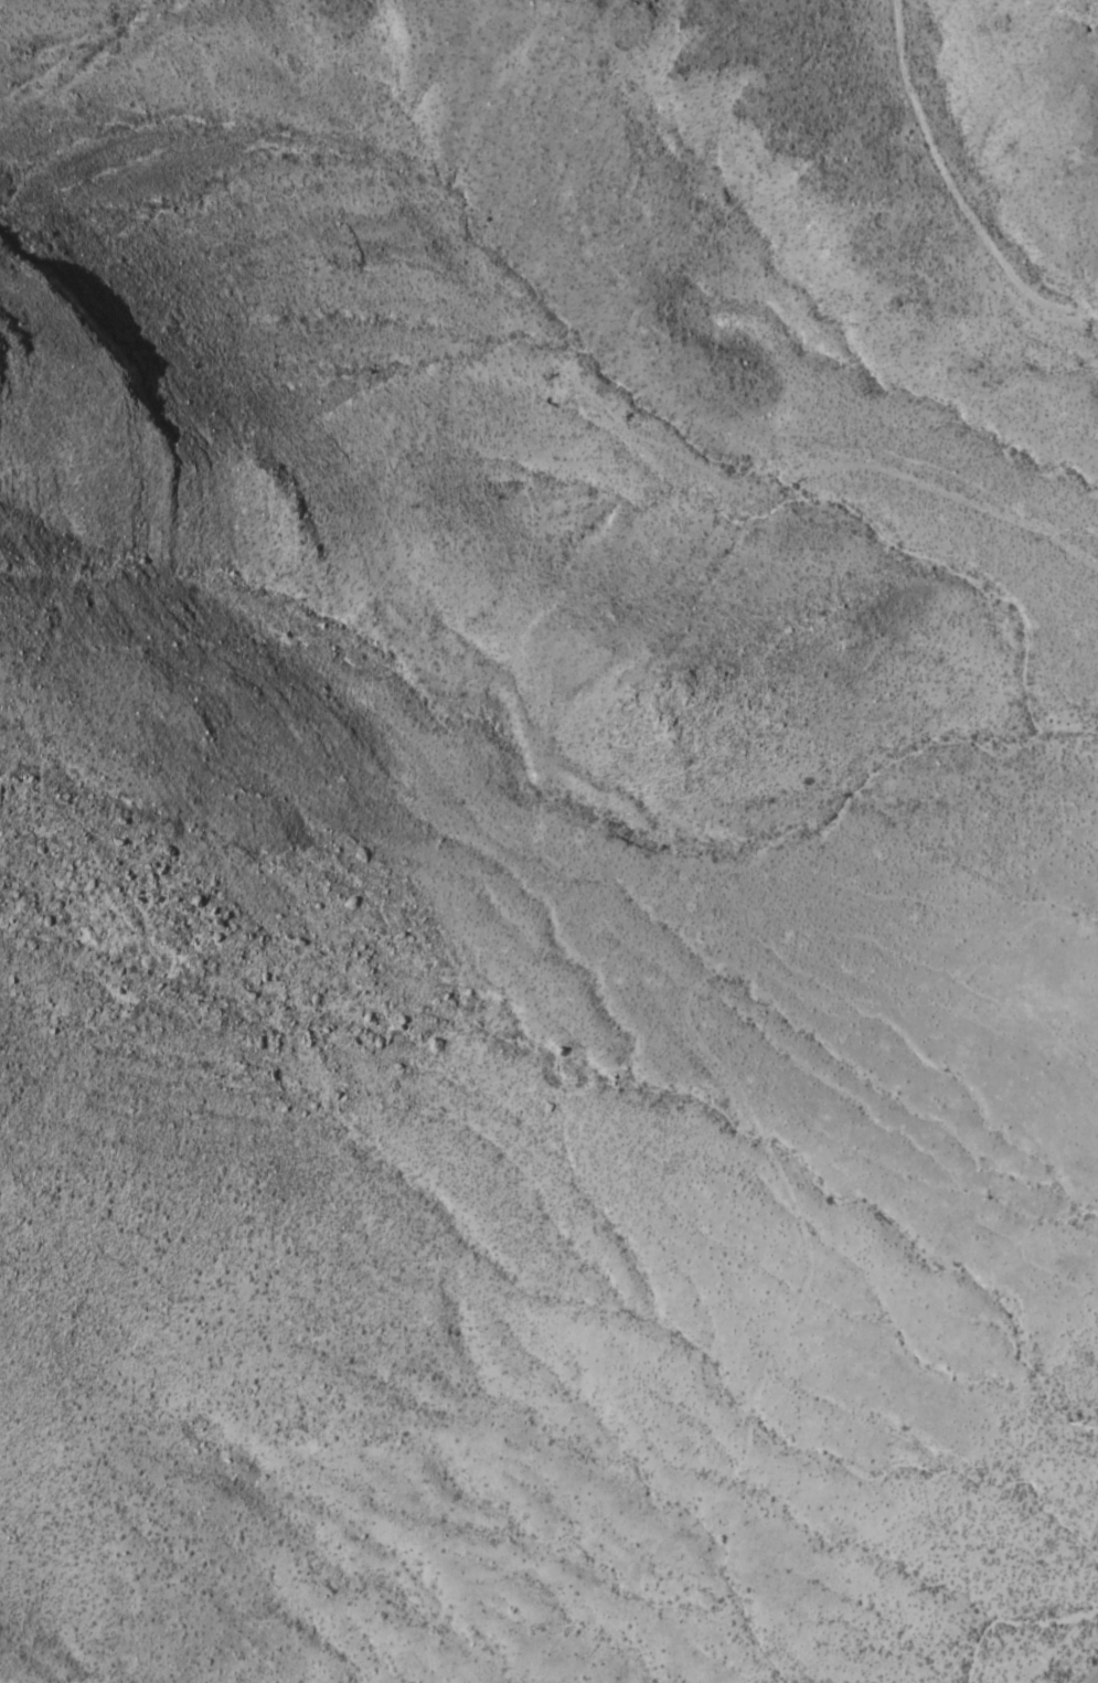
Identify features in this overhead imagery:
road: (952, 190)
road: (829, 466)

